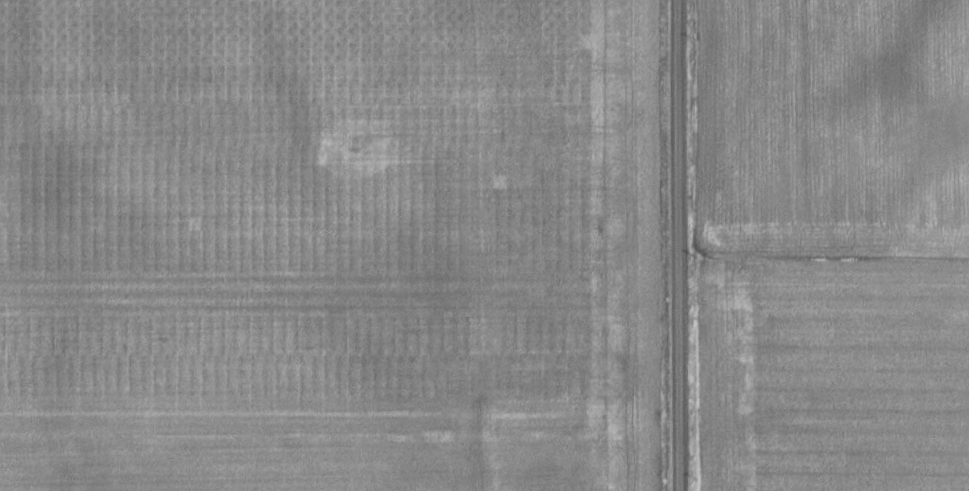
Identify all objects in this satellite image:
road: (678, 245)

